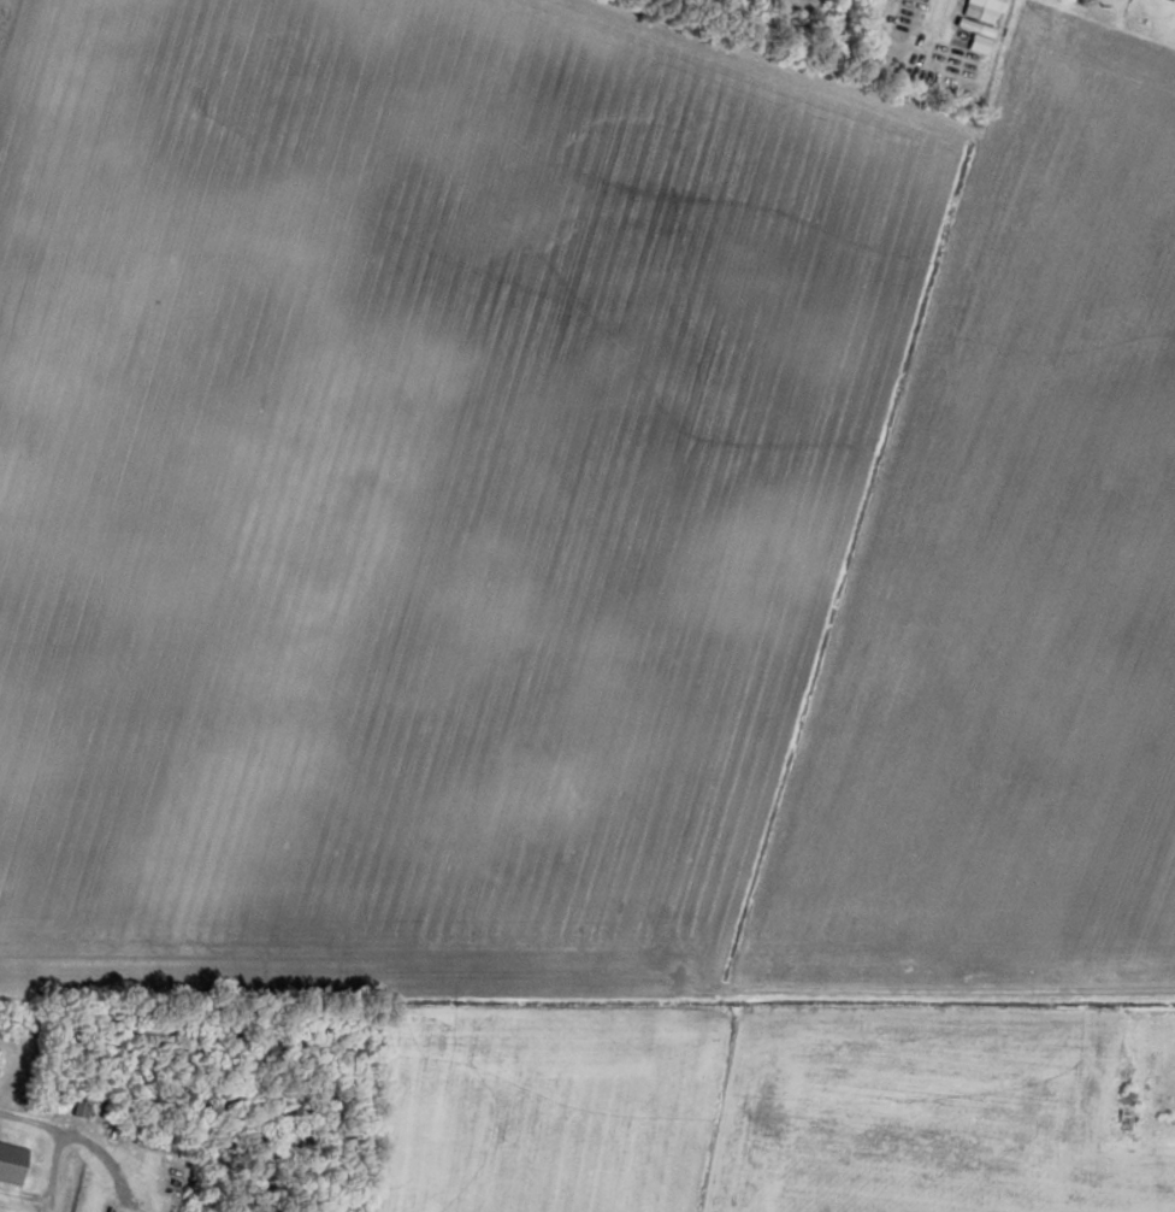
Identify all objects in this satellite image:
building: (1167, 17)
building: (76, 1110)
building: (1121, 1117)
building: (11, 1157)

